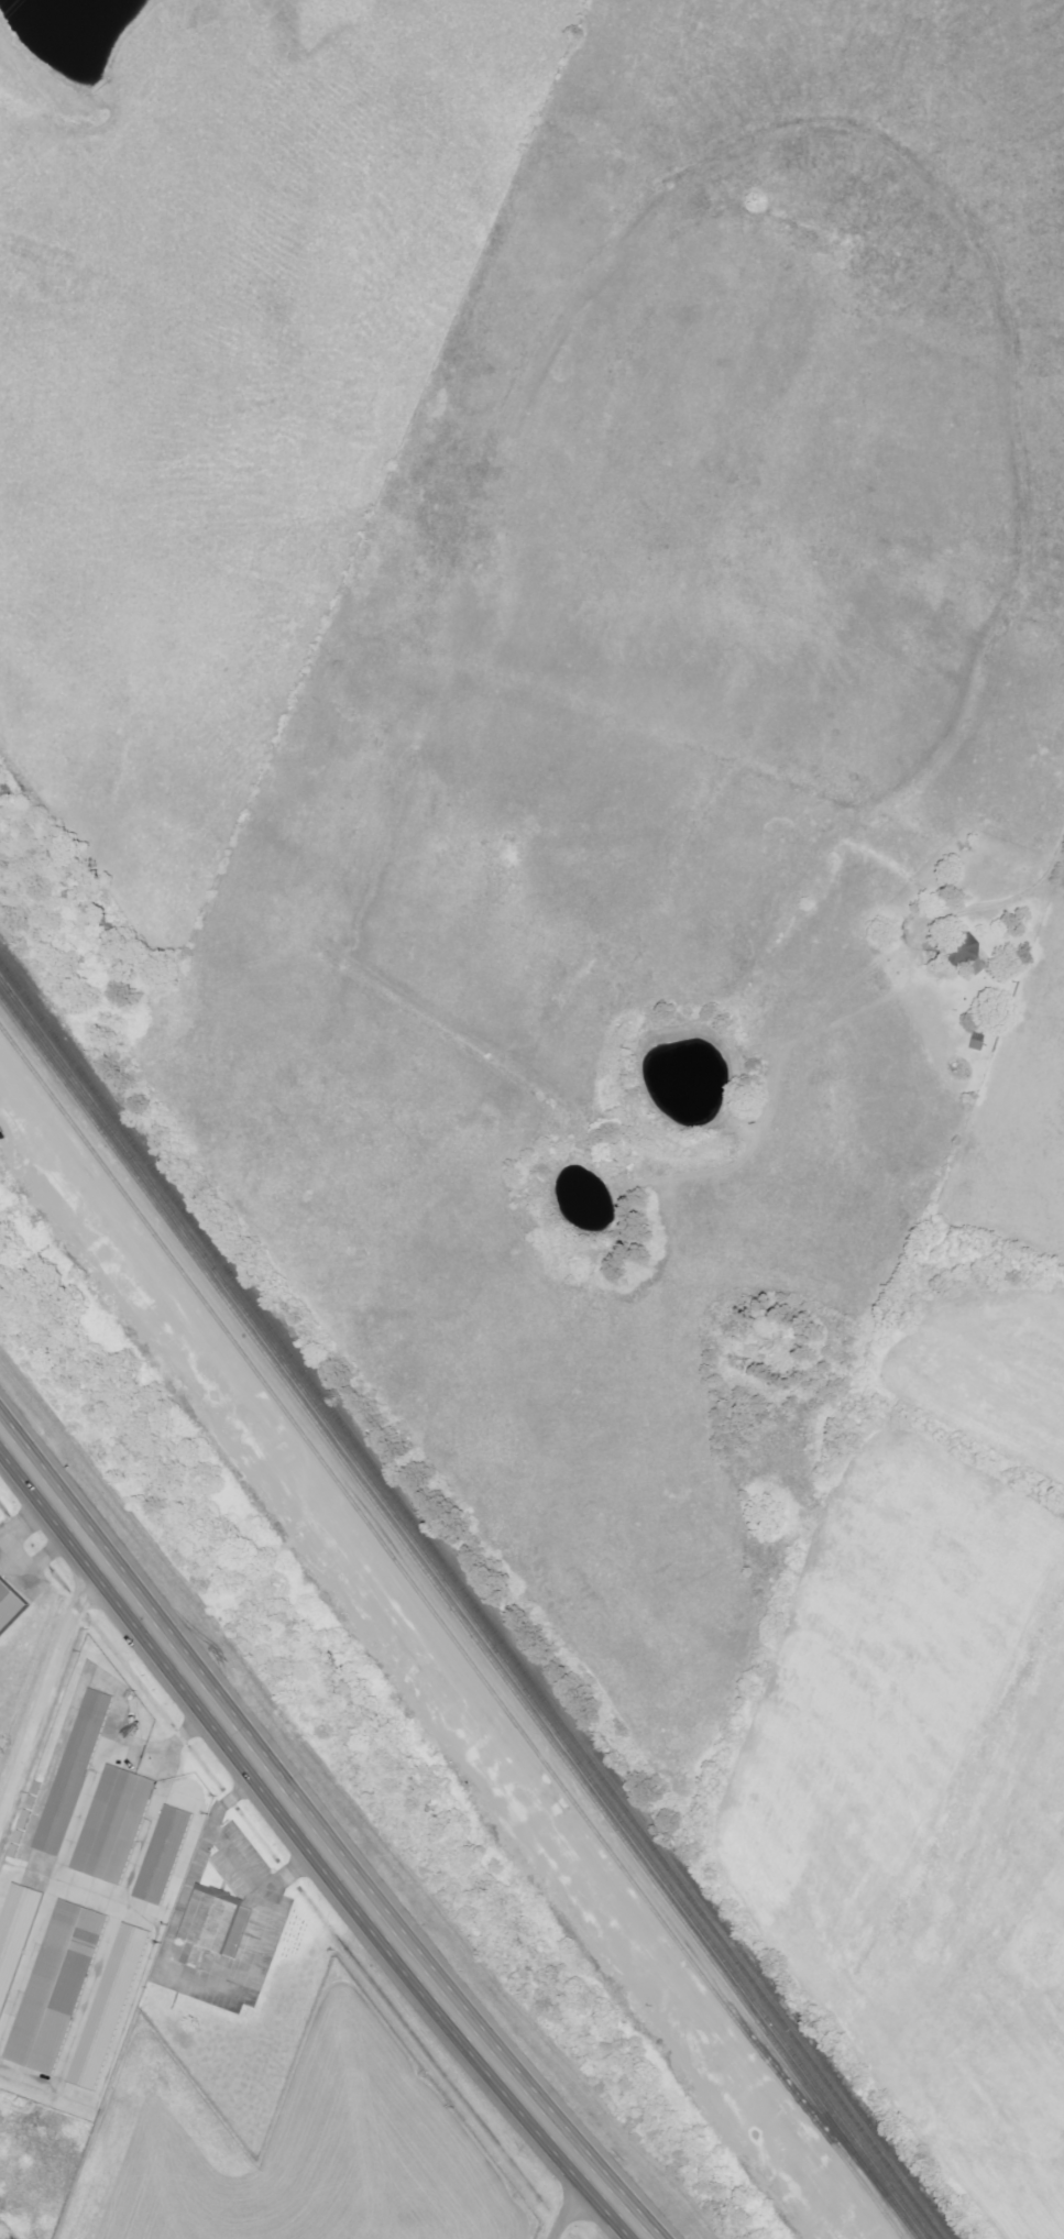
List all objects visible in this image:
building: (964, 951)
railway: (465, 1604)
building: (9, 1606)
railway: (459, 1611)
railway: (456, 1618)
railway: (445, 1636)
road: (45, 1694)
building: (73, 1774)
building: (113, 1825)
road: (308, 1850)
building: (163, 1856)
building: (212, 1925)
building: (14, 1936)
building: (56, 1988)
building: (109, 2008)
road: (561, 2208)

